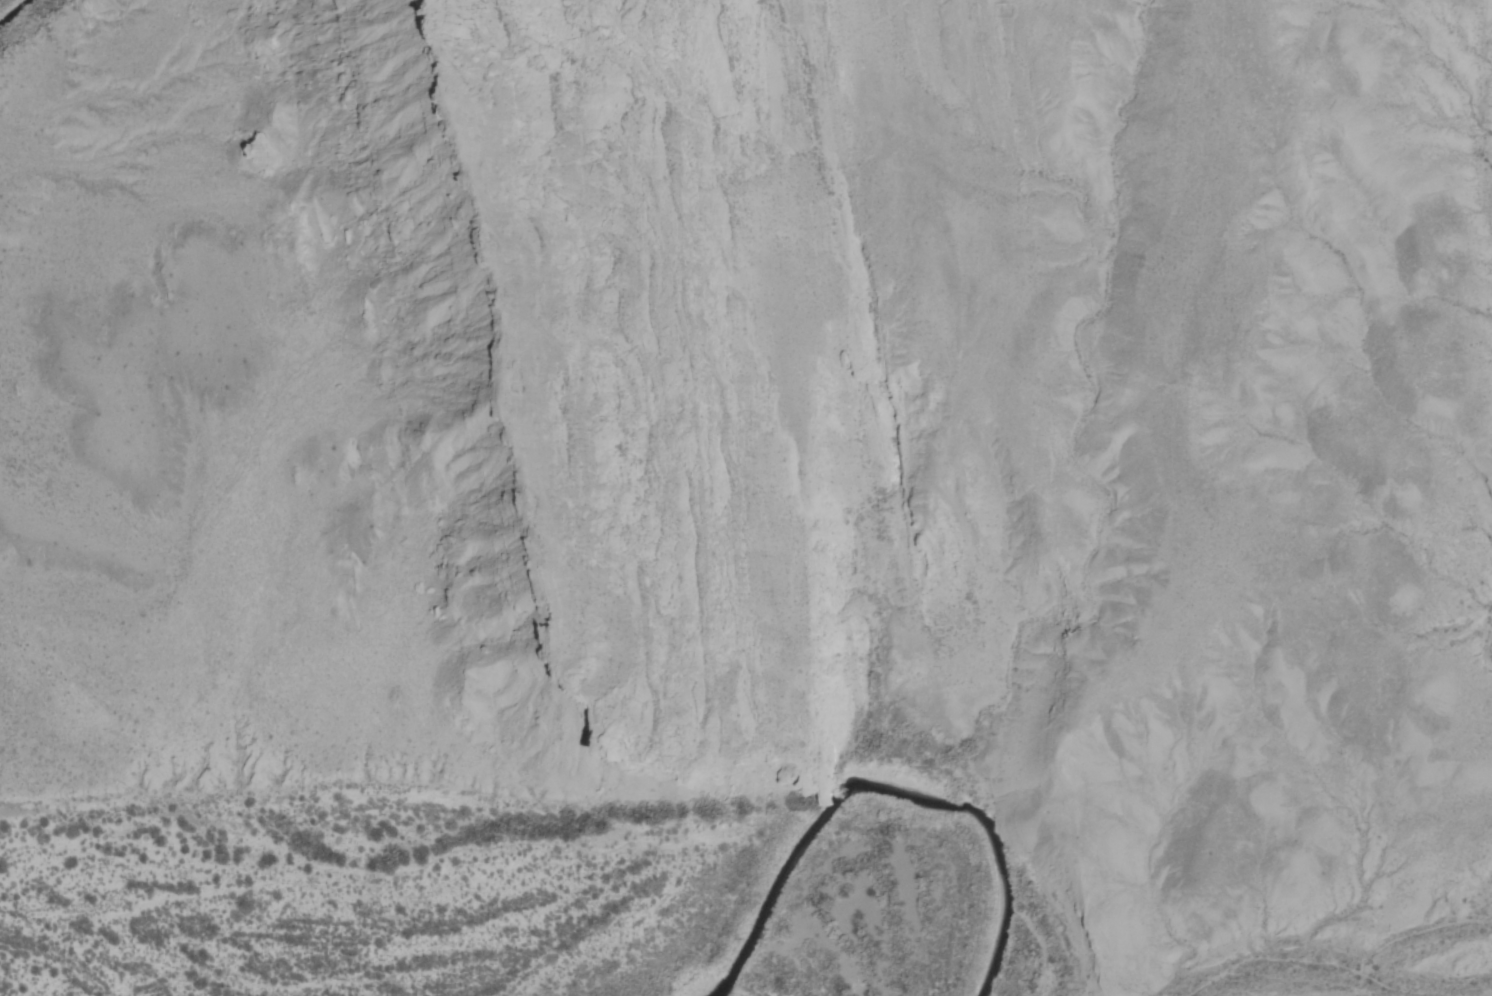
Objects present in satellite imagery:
river: (18, 12)
river: (878, 777)

